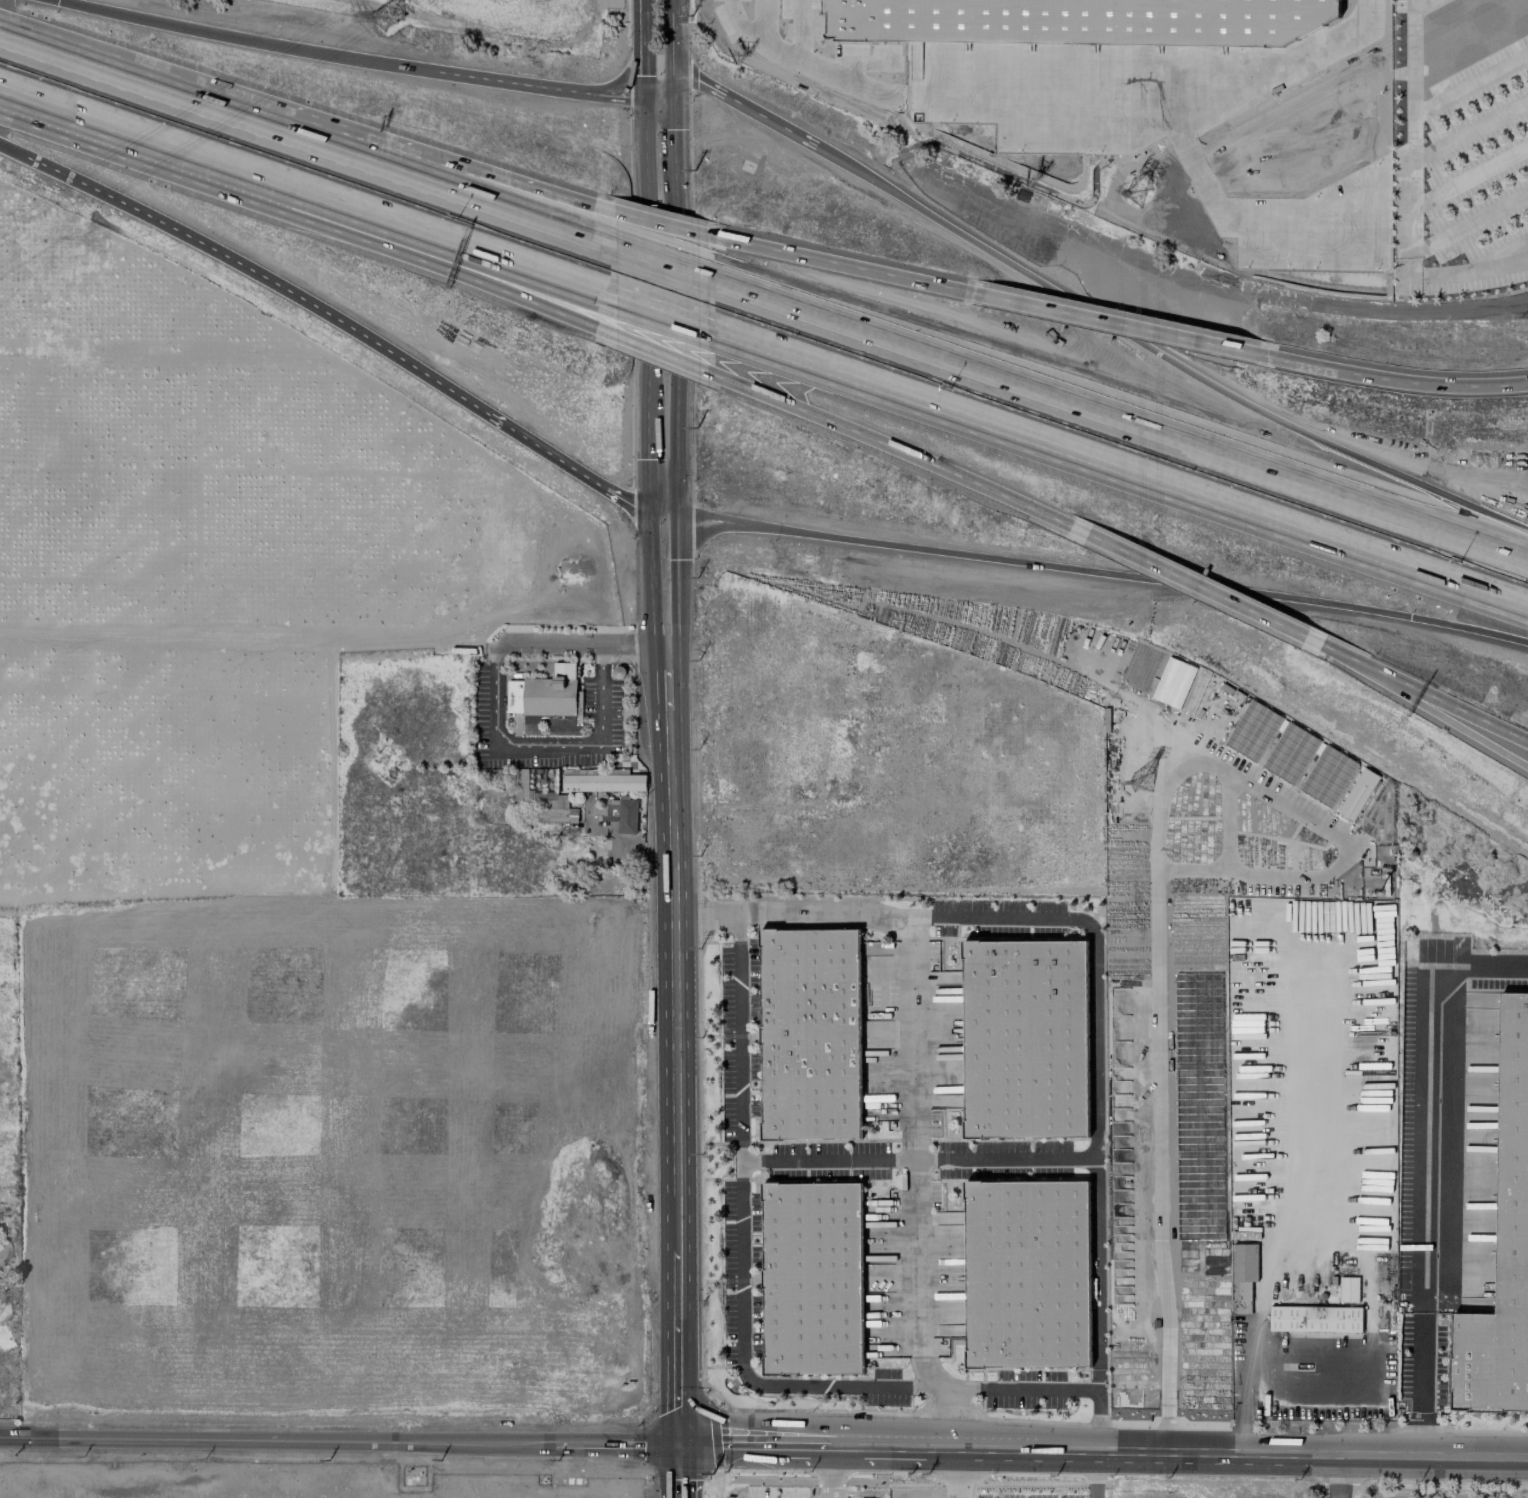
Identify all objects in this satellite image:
traffic signals: (58, 0)
road: (1422, 5)
road: (746, 21)
road: (768, 41)
road: (644, 47)
road: (670, 48)
road: (349, 56)
road: (1471, 84)
road: (1071, 92)
traffic signals: (643, 95)
road: (657, 96)
traffic signals: (671, 97)
road: (742, 106)
road: (1471, 129)
road: (671, 136)
road: (306, 138)
parking lot: (1460, 144)
road: (177, 154)
road: (1471, 175)
road: (483, 182)
power tower: (1138, 195)
road: (1414, 195)
road: (663, 222)
road: (1471, 223)
road: (1499, 256)
road: (483, 259)
road: (663, 260)
road: (851, 266)
road: (250, 268)
road: (483, 273)
road: (646, 301)
road: (658, 320)
road: (1126, 326)
road: (1165, 349)
road: (661, 354)
road: (1397, 376)
road: (674, 377)
road: (1119, 420)
road: (566, 467)
road: (925, 468)
road: (1116, 474)
traffic signals: (650, 508)
road: (663, 510)
traffic signals: (676, 512)
road: (651, 544)
road: (1102, 573)
road: (1224, 598)
road: (666, 613)
road: (582, 645)
road: (1342, 658)
road: (669, 679)
building: (543, 693)
road: (1452, 709)
road: (1452, 722)
road: (546, 742)
power tower: (1142, 779)
building: (601, 780)
building: (558, 801)
building: (604, 808)
building: (627, 816)
road: (1159, 899)
road: (1310, 943)
road: (1092, 976)
road: (674, 980)
building: (800, 1030)
building: (1025, 1038)
road: (918, 1156)
road: (1422, 1173)
building: (1503, 1243)
building: (1243, 1269)
building: (1027, 1273)
building: (812, 1278)
road: (914, 1280)
building: (1315, 1318)
road: (741, 1323)
road: (676, 1348)
road: (1308, 1391)
road: (953, 1417)
road: (276, 1441)
road: (615, 1445)
road: (1102, 1445)
traffic signals: (677, 1446)
road: (1095, 1471)
road: (677, 1472)
road: (827, 1472)
road: (952, 1472)
road: (1336, 1476)

